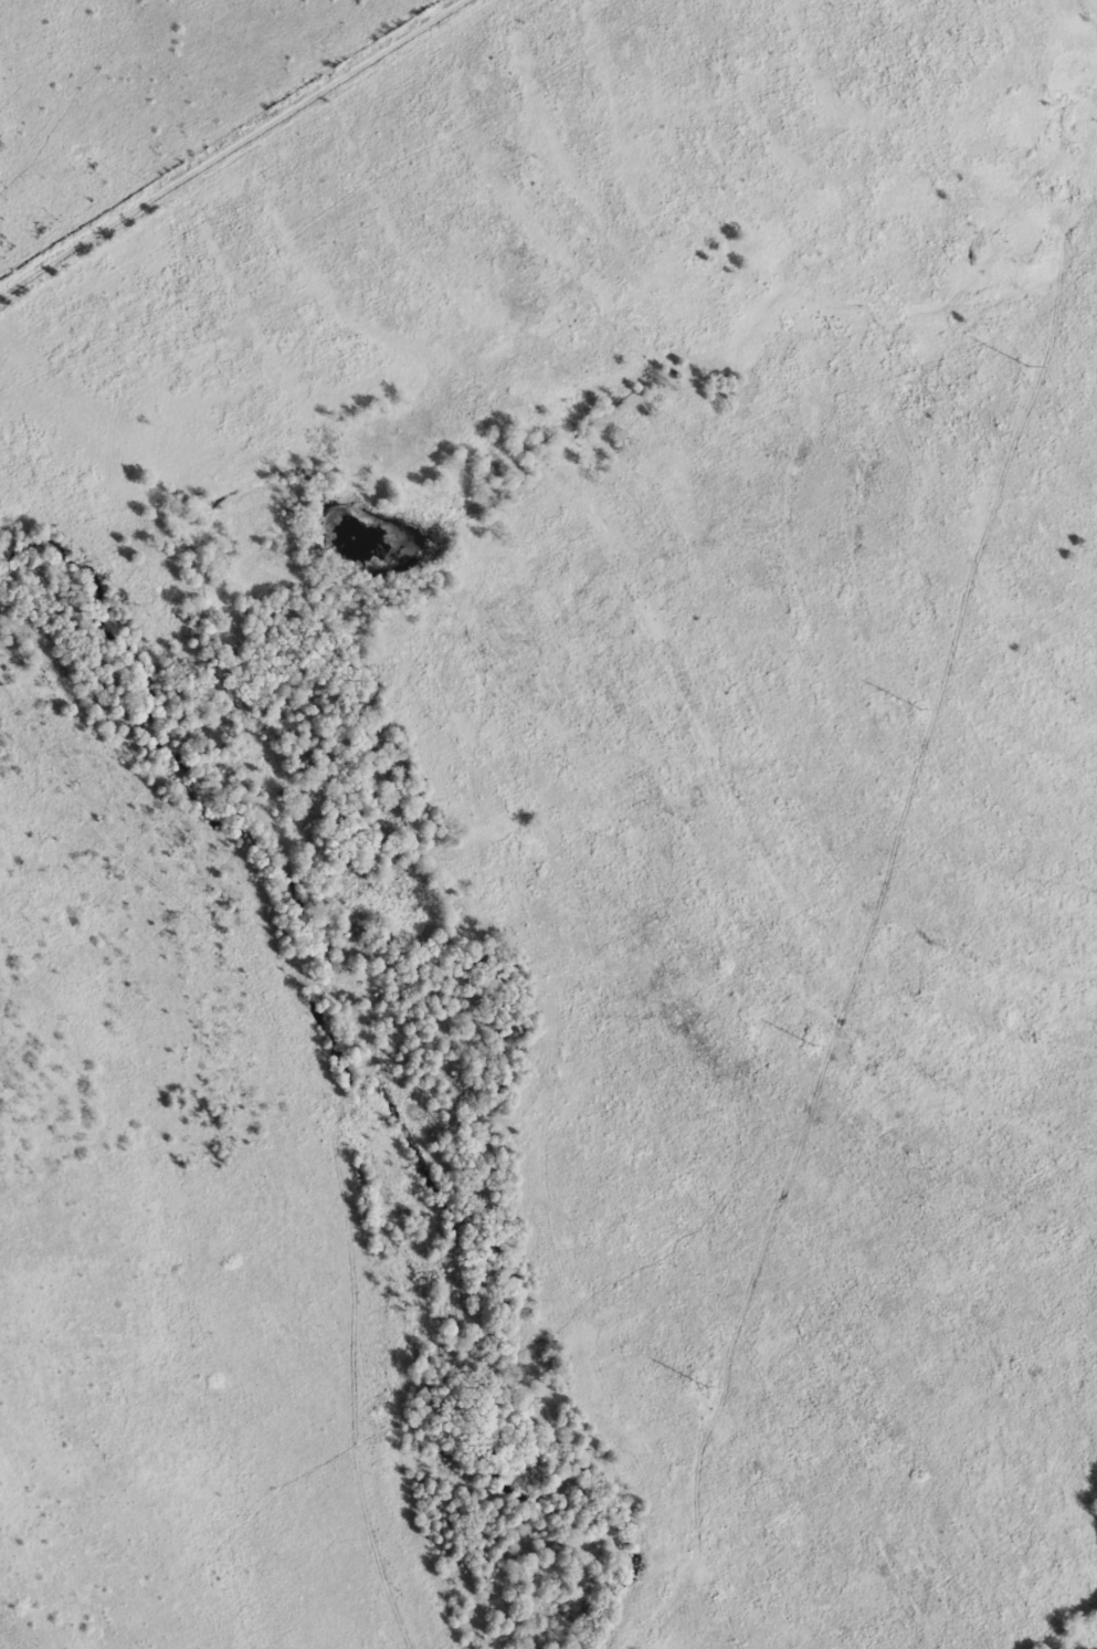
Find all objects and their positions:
road: (1094, 4)
road: (231, 147)
power tower: (1026, 365)
power tower: (918, 707)
power tower: (813, 1044)
power tower: (706, 1387)

